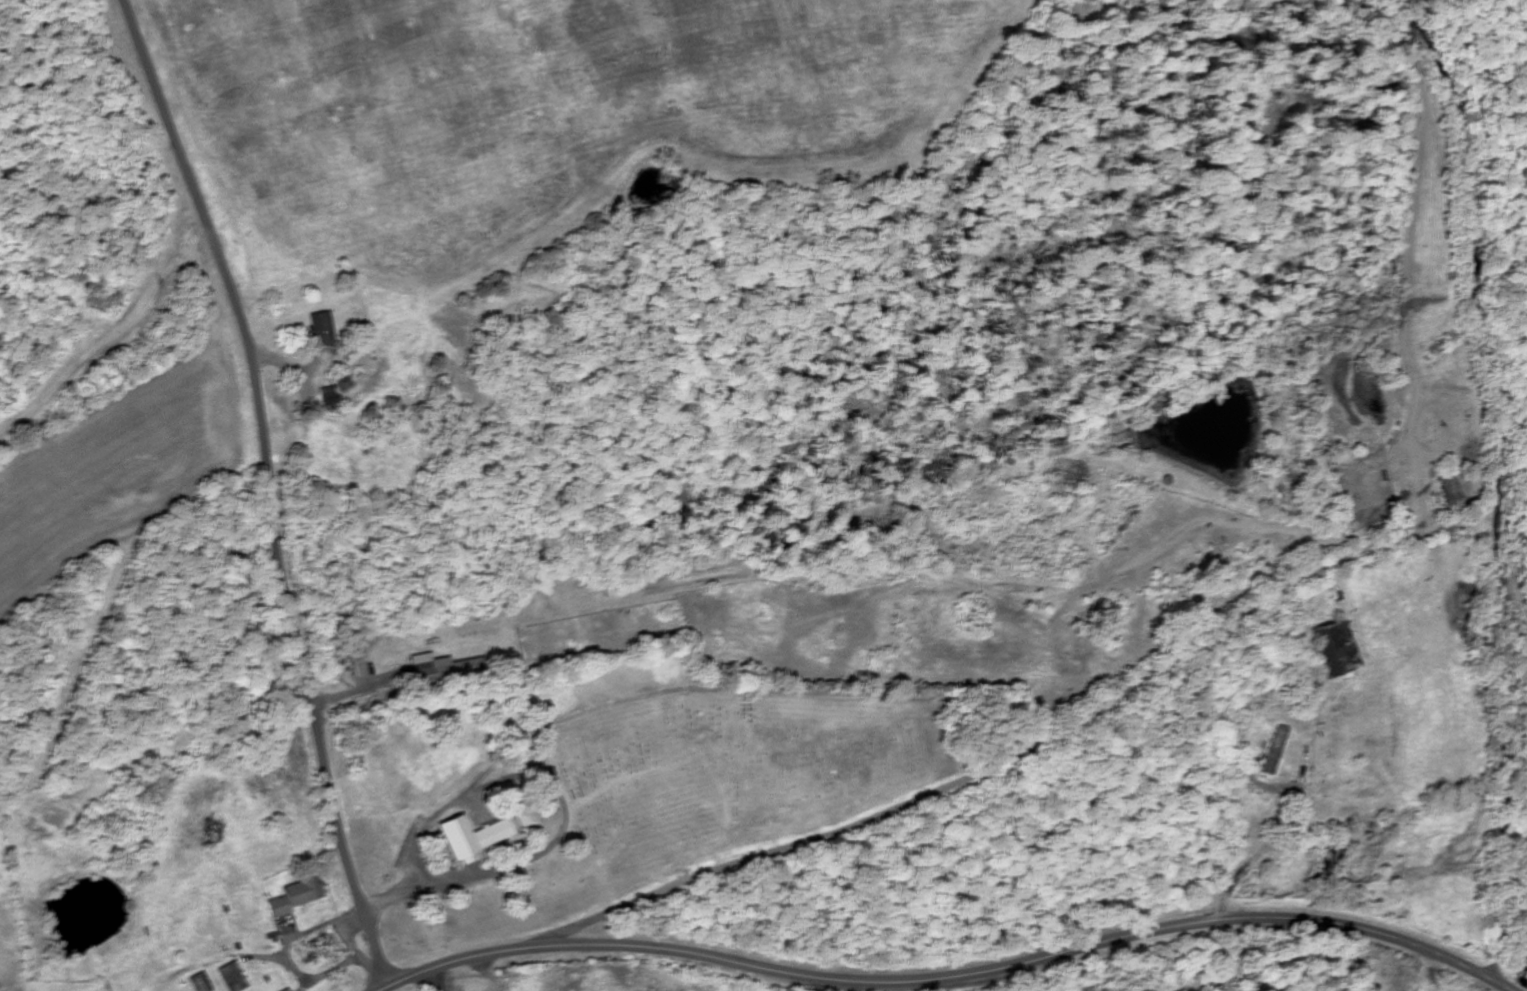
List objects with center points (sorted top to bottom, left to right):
road: (1508, 75)
building: (322, 330)
road: (268, 490)
building: (429, 666)
road: (729, 689)
park: (729, 781)
road: (823, 835)
building: (471, 838)
road: (391, 885)
building: (295, 898)
road: (952, 976)
building: (231, 977)
road: (436, 980)
building: (199, 983)
building: (287, 990)

